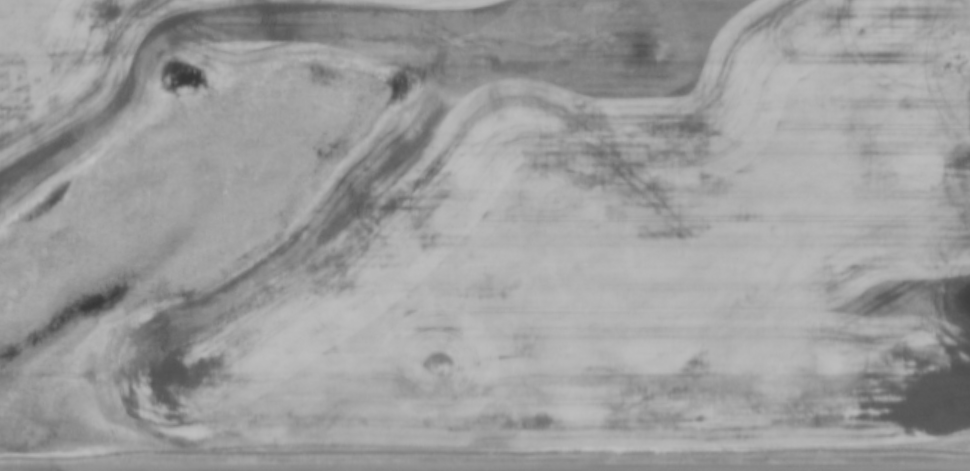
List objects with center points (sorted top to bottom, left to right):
road: (130, 470)
road: (485, 470)
road: (918, 470)

